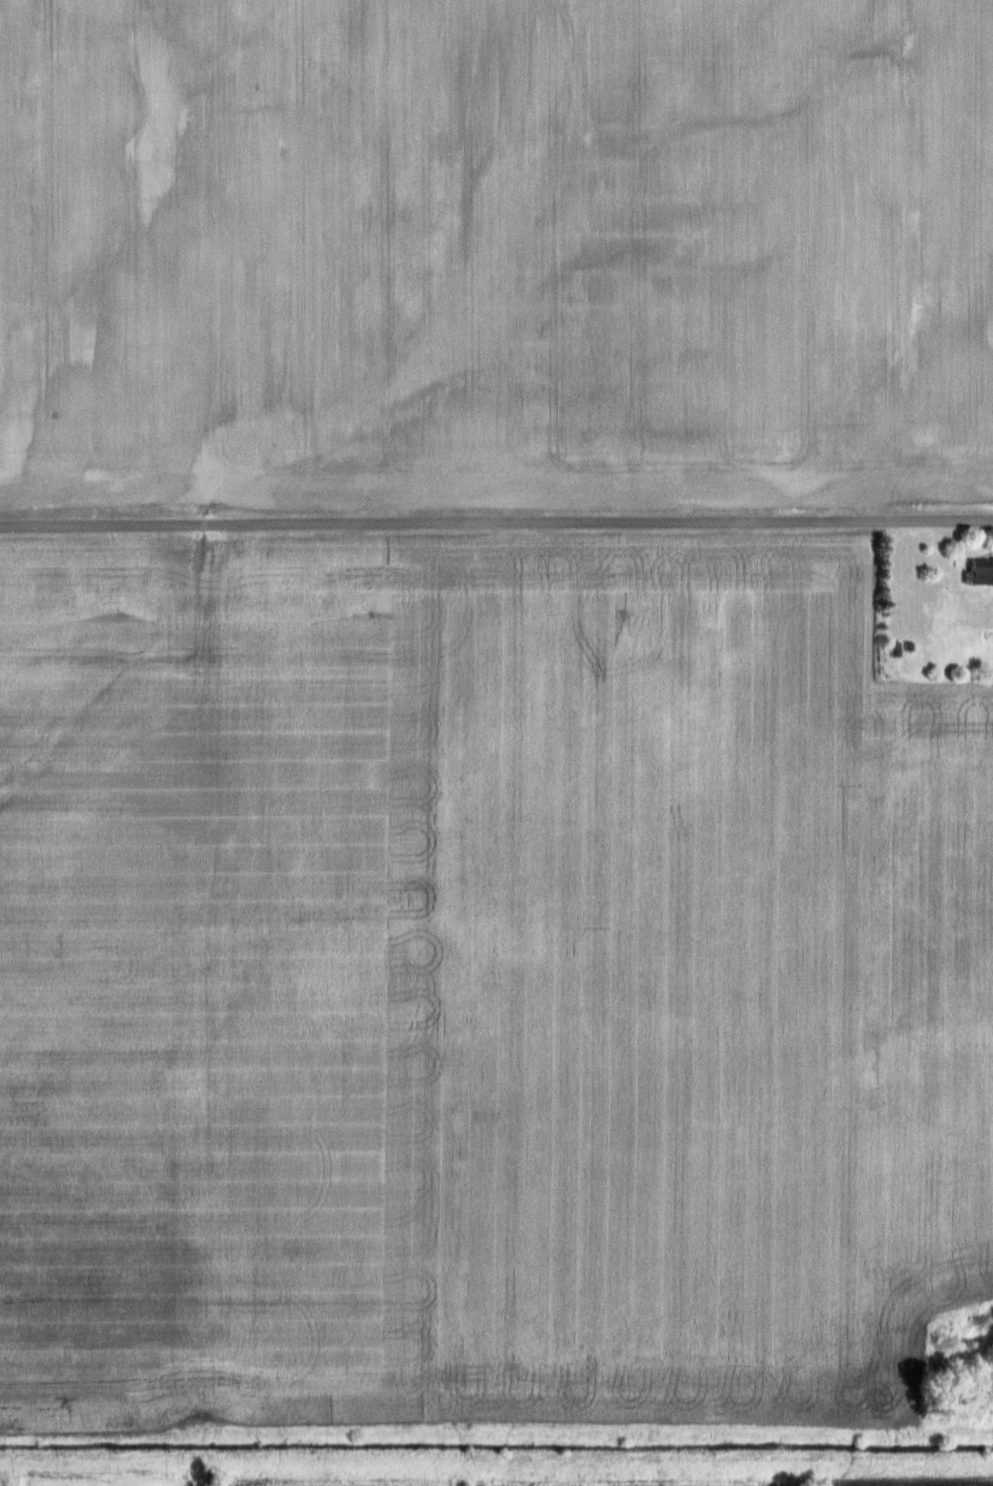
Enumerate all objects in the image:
road: (496, 523)
building: (981, 569)

